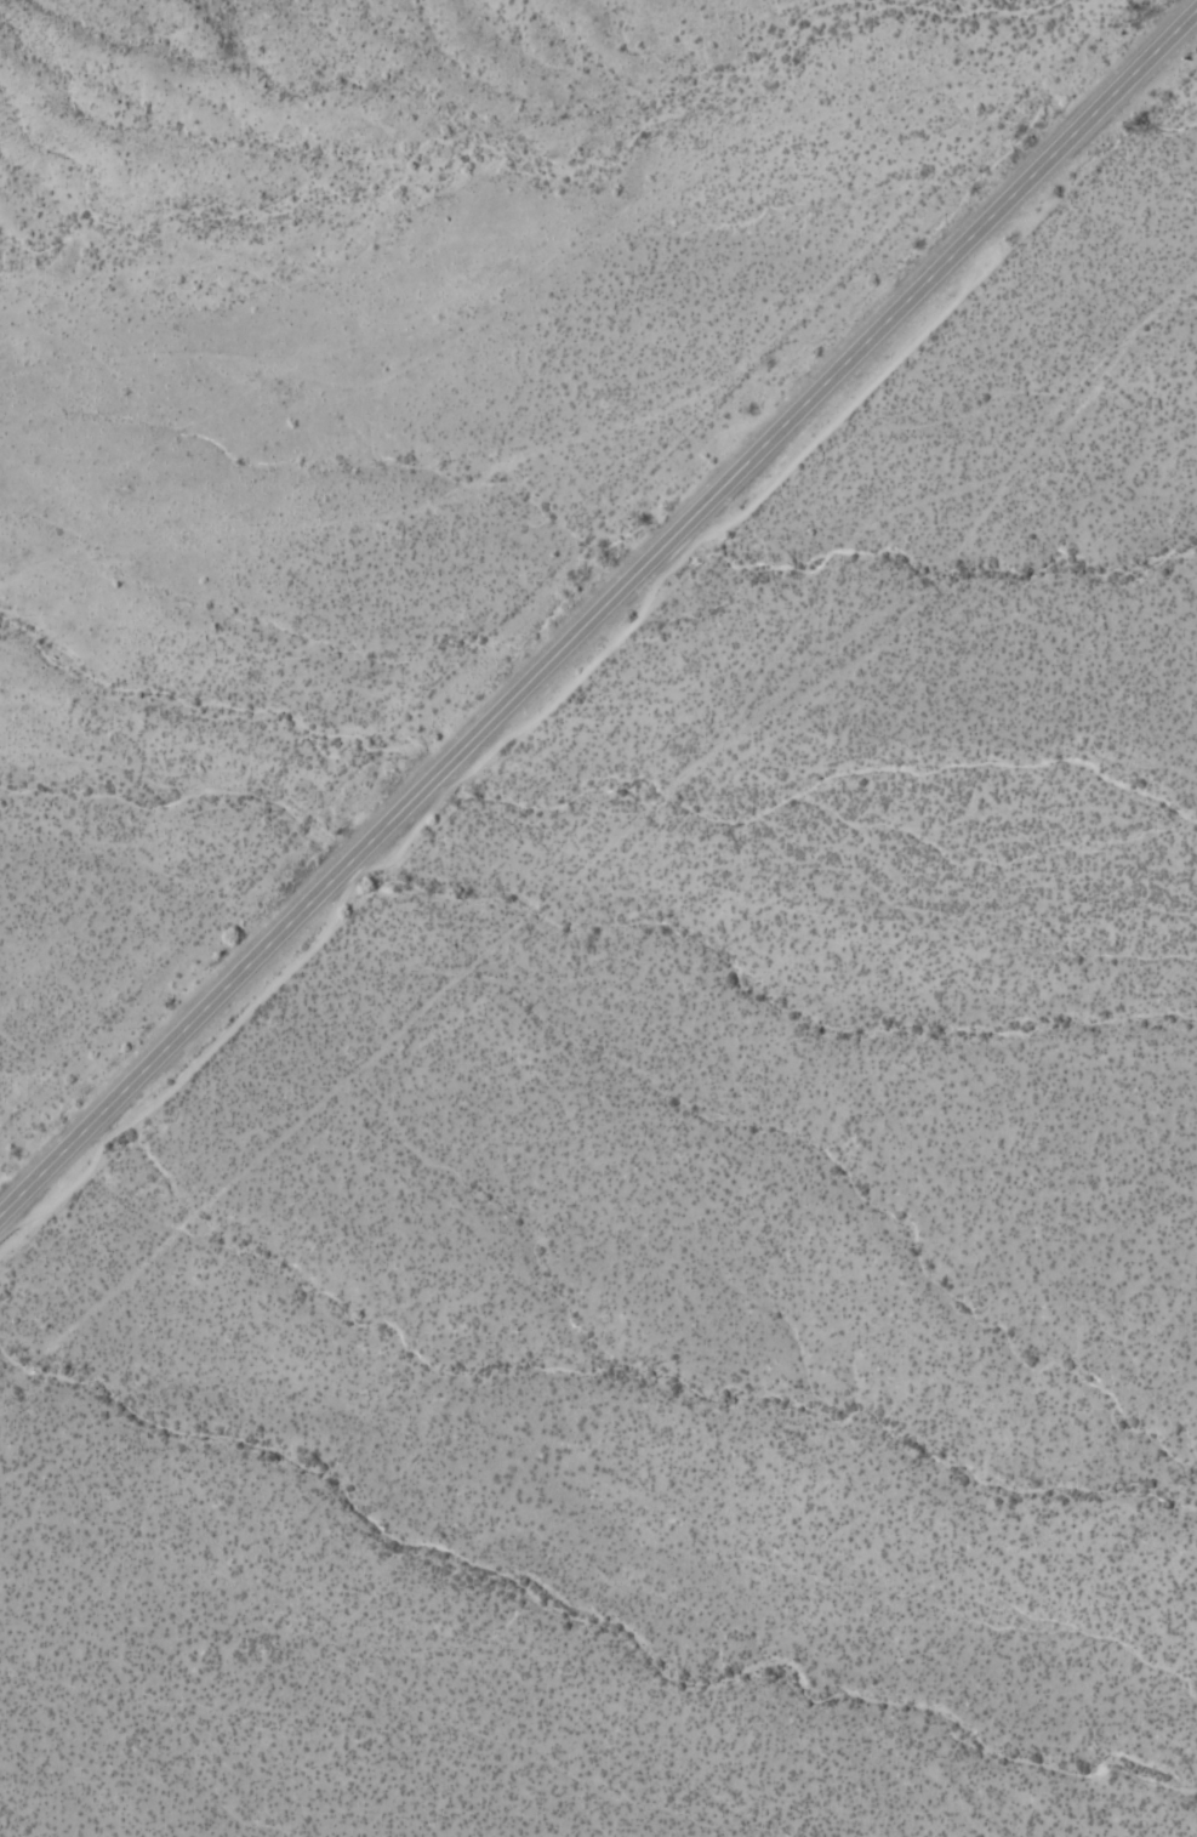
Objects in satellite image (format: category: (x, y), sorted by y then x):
road: (598, 604)

